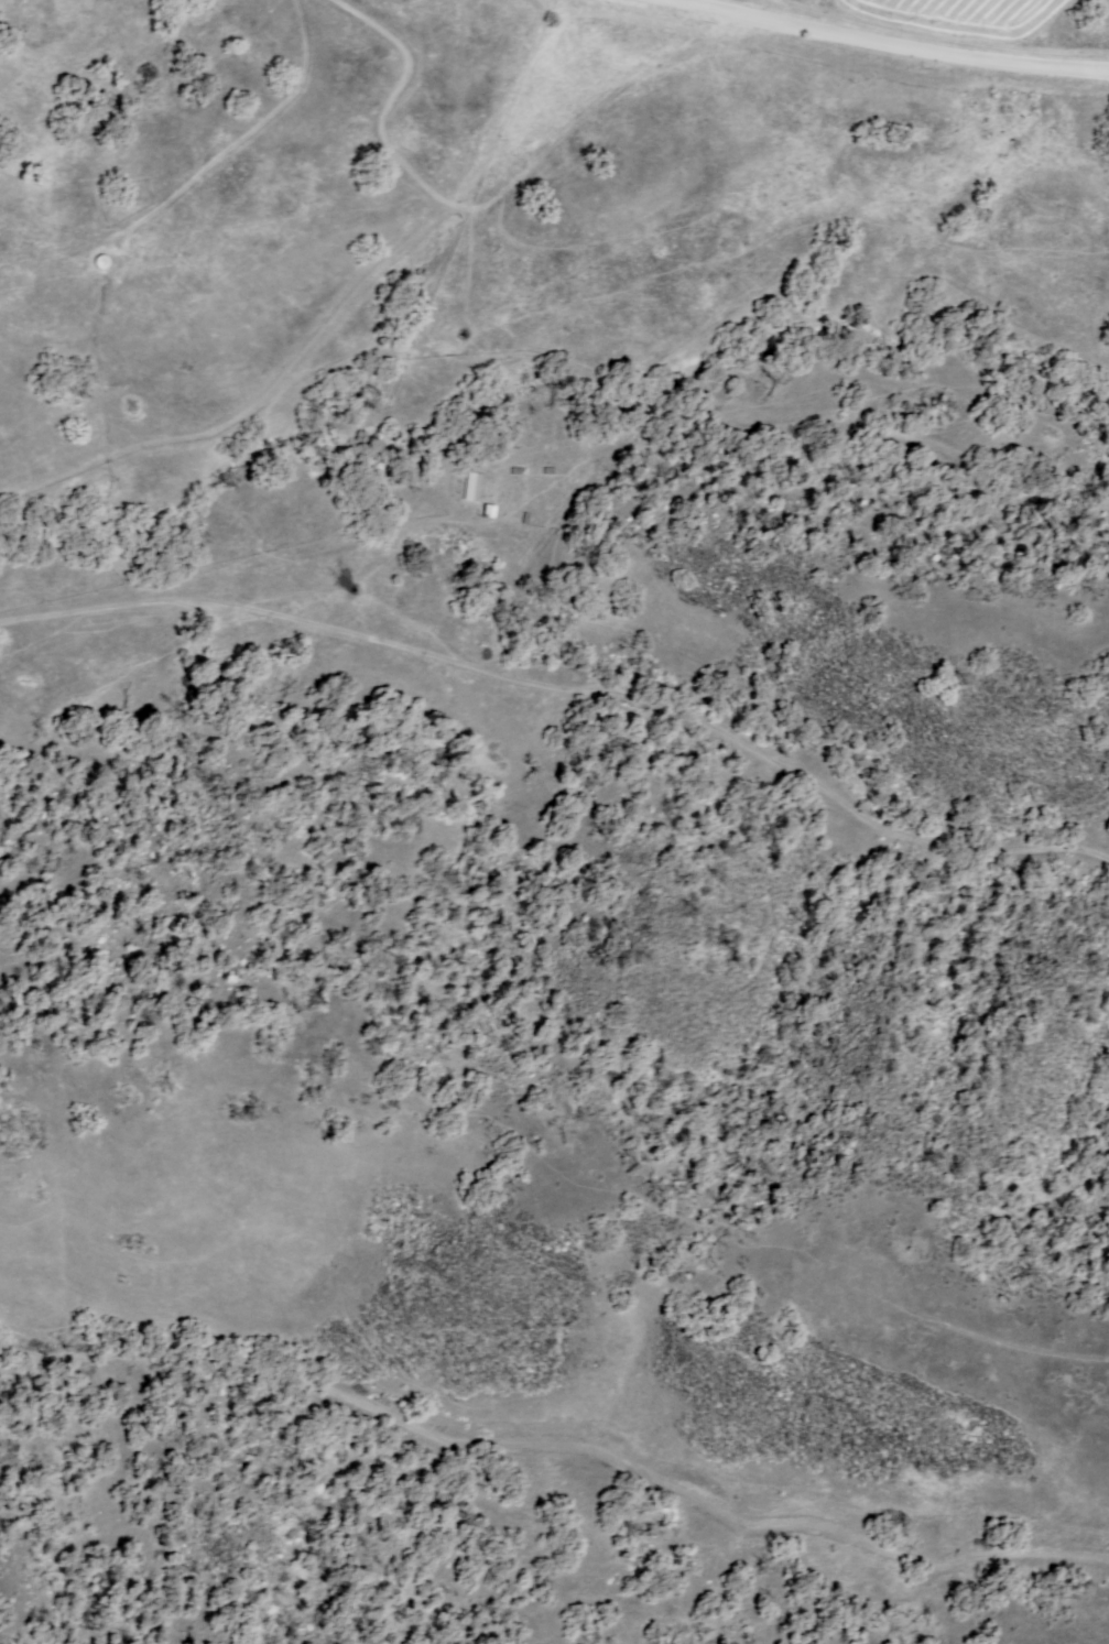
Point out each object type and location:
road: (898, 44)
building: (471, 485)
building: (488, 509)
road: (566, 684)

